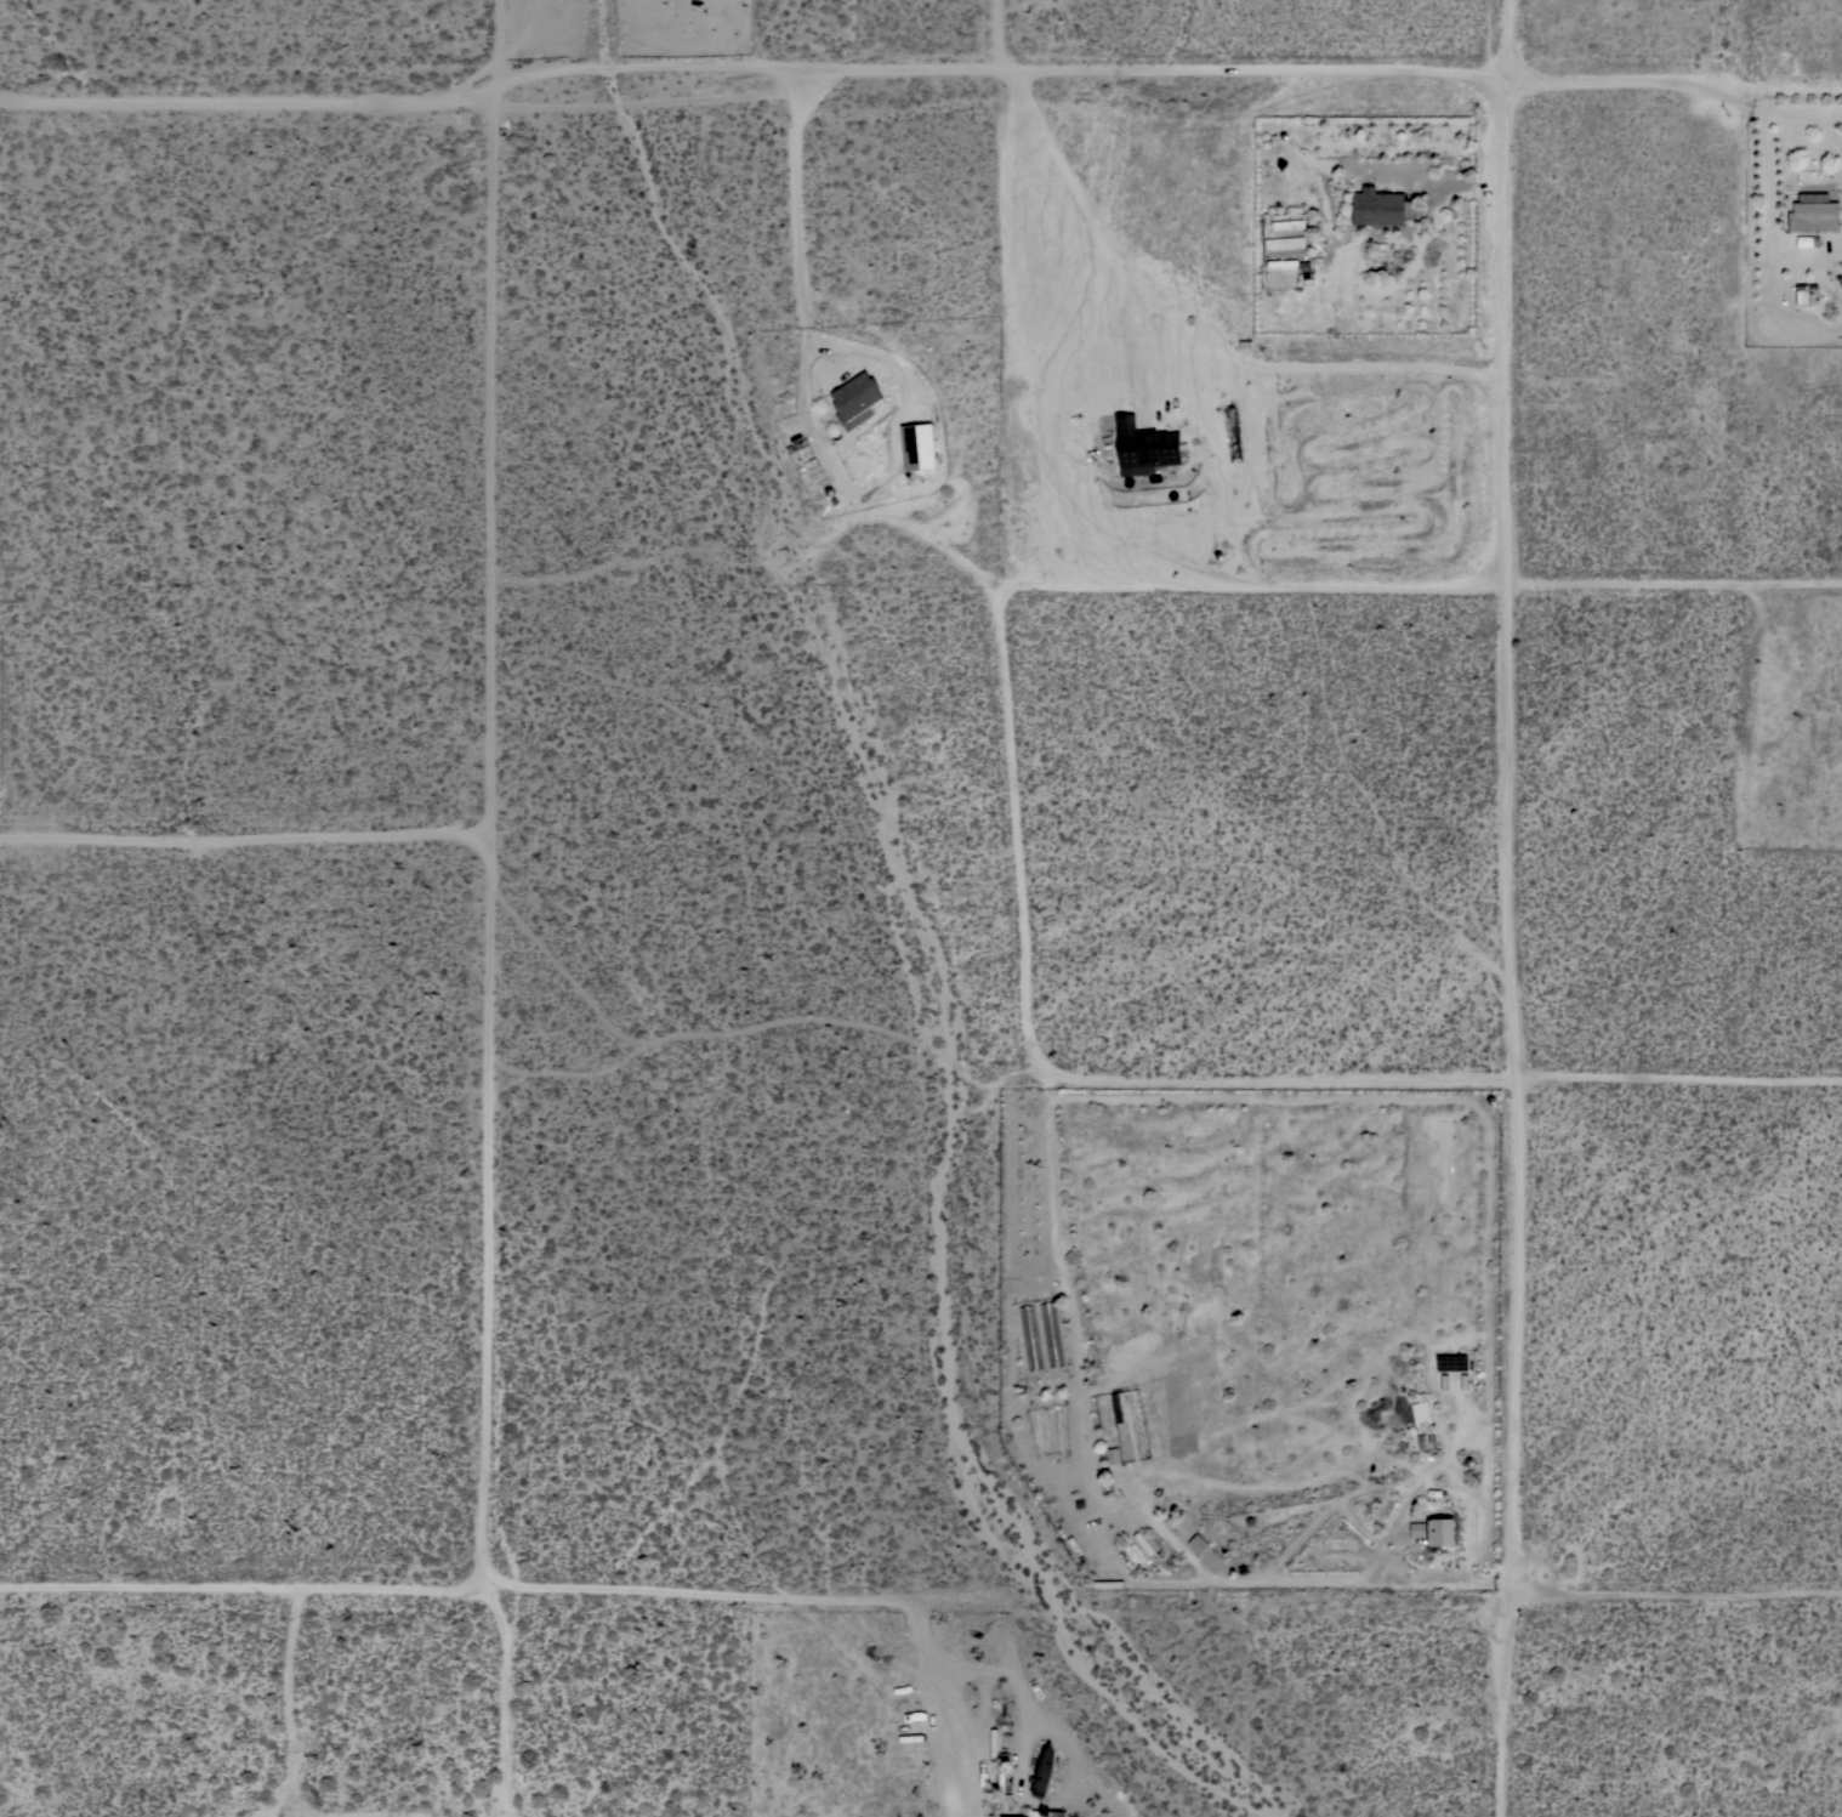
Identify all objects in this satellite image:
road: (917, 73)
building: (1380, 206)
building: (1813, 214)
building: (1286, 225)
building: (1803, 240)
building: (1284, 242)
building: (1281, 262)
building: (854, 399)
building: (917, 445)
building: (1143, 445)
road: (1118, 584)
road: (1507, 615)
road: (1011, 827)
road: (495, 841)
road: (248, 844)
road: (1676, 1078)
road: (1275, 1081)
building: (1420, 1409)
building: (1425, 1441)
building: (1416, 1528)
building: (1439, 1529)
building: (1196, 1543)
road: (243, 1586)
road: (805, 1599)
road: (501, 1700)
building: (1042, 1770)
building: (1002, 1789)
building: (1124, 1802)
building: (1033, 1812)
building: (1056, 1812)

